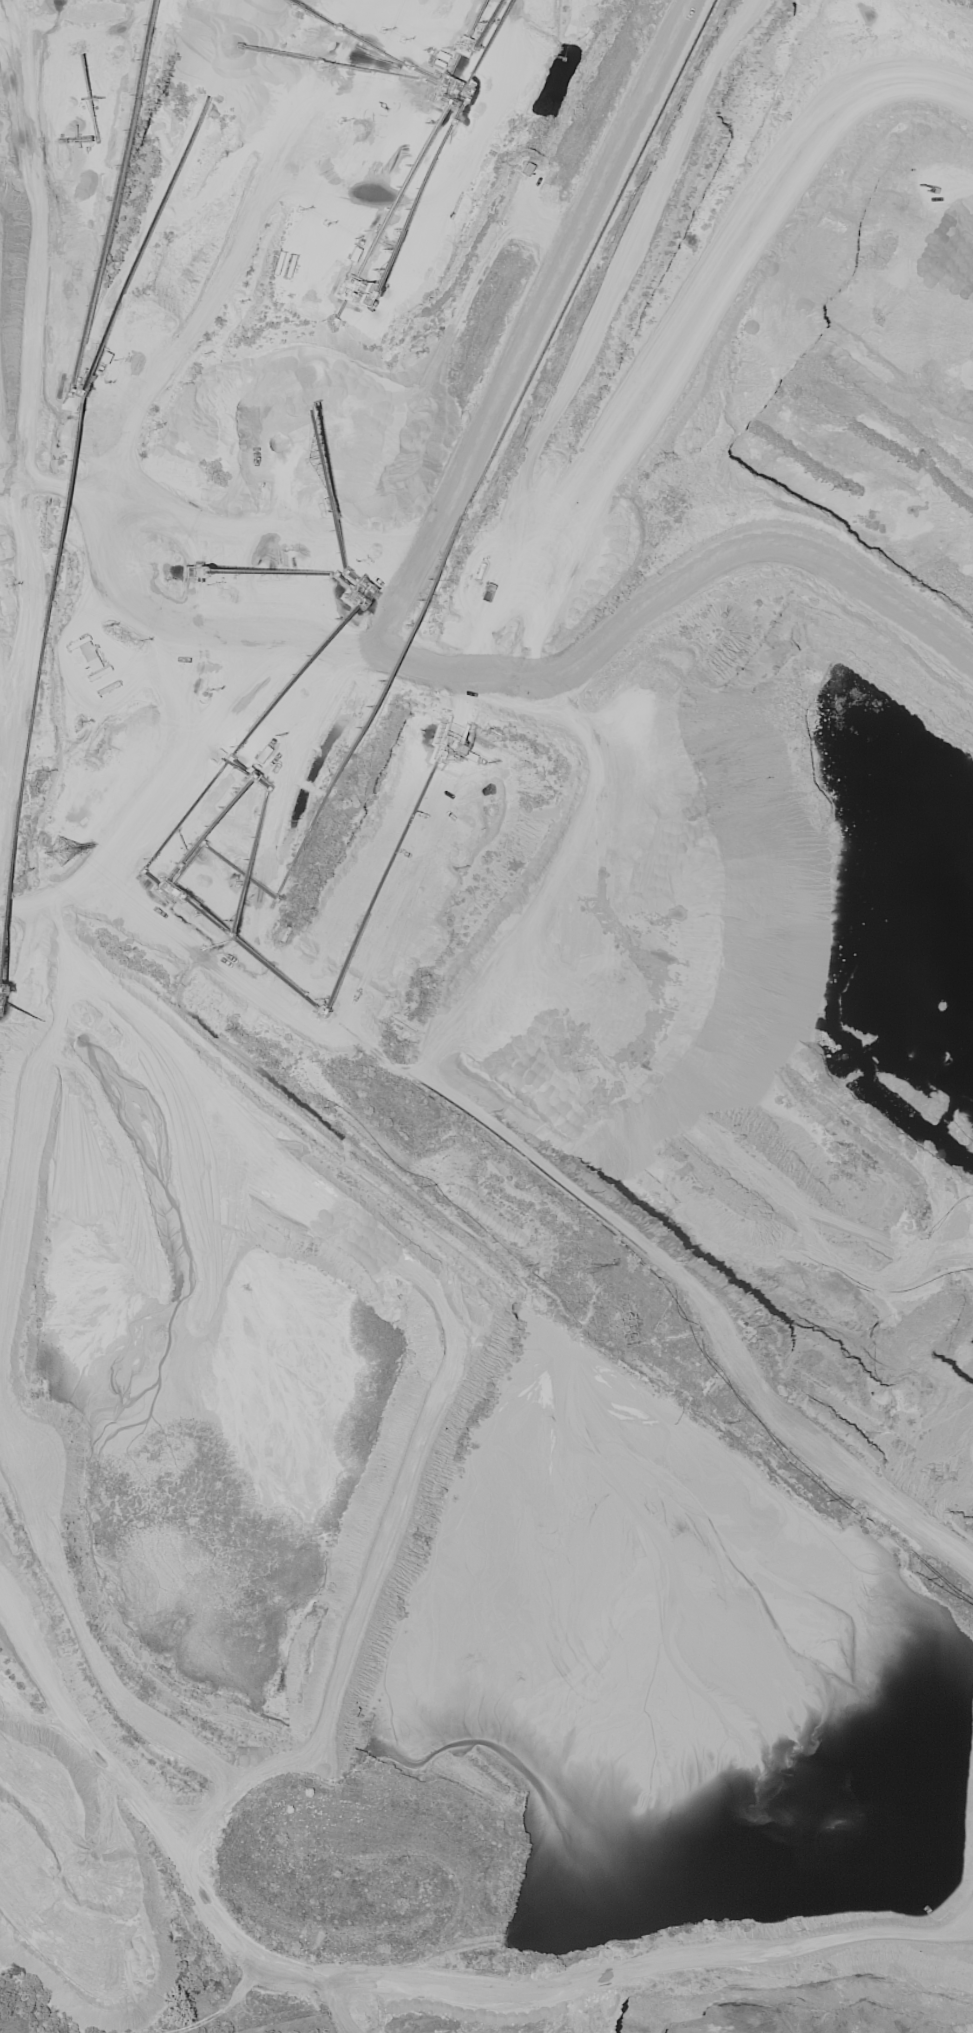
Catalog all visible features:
road: (339, 645)
building: (84, 650)
power tower: (40, 841)
quarry: (488, 1008)
power tower: (589, 1269)

